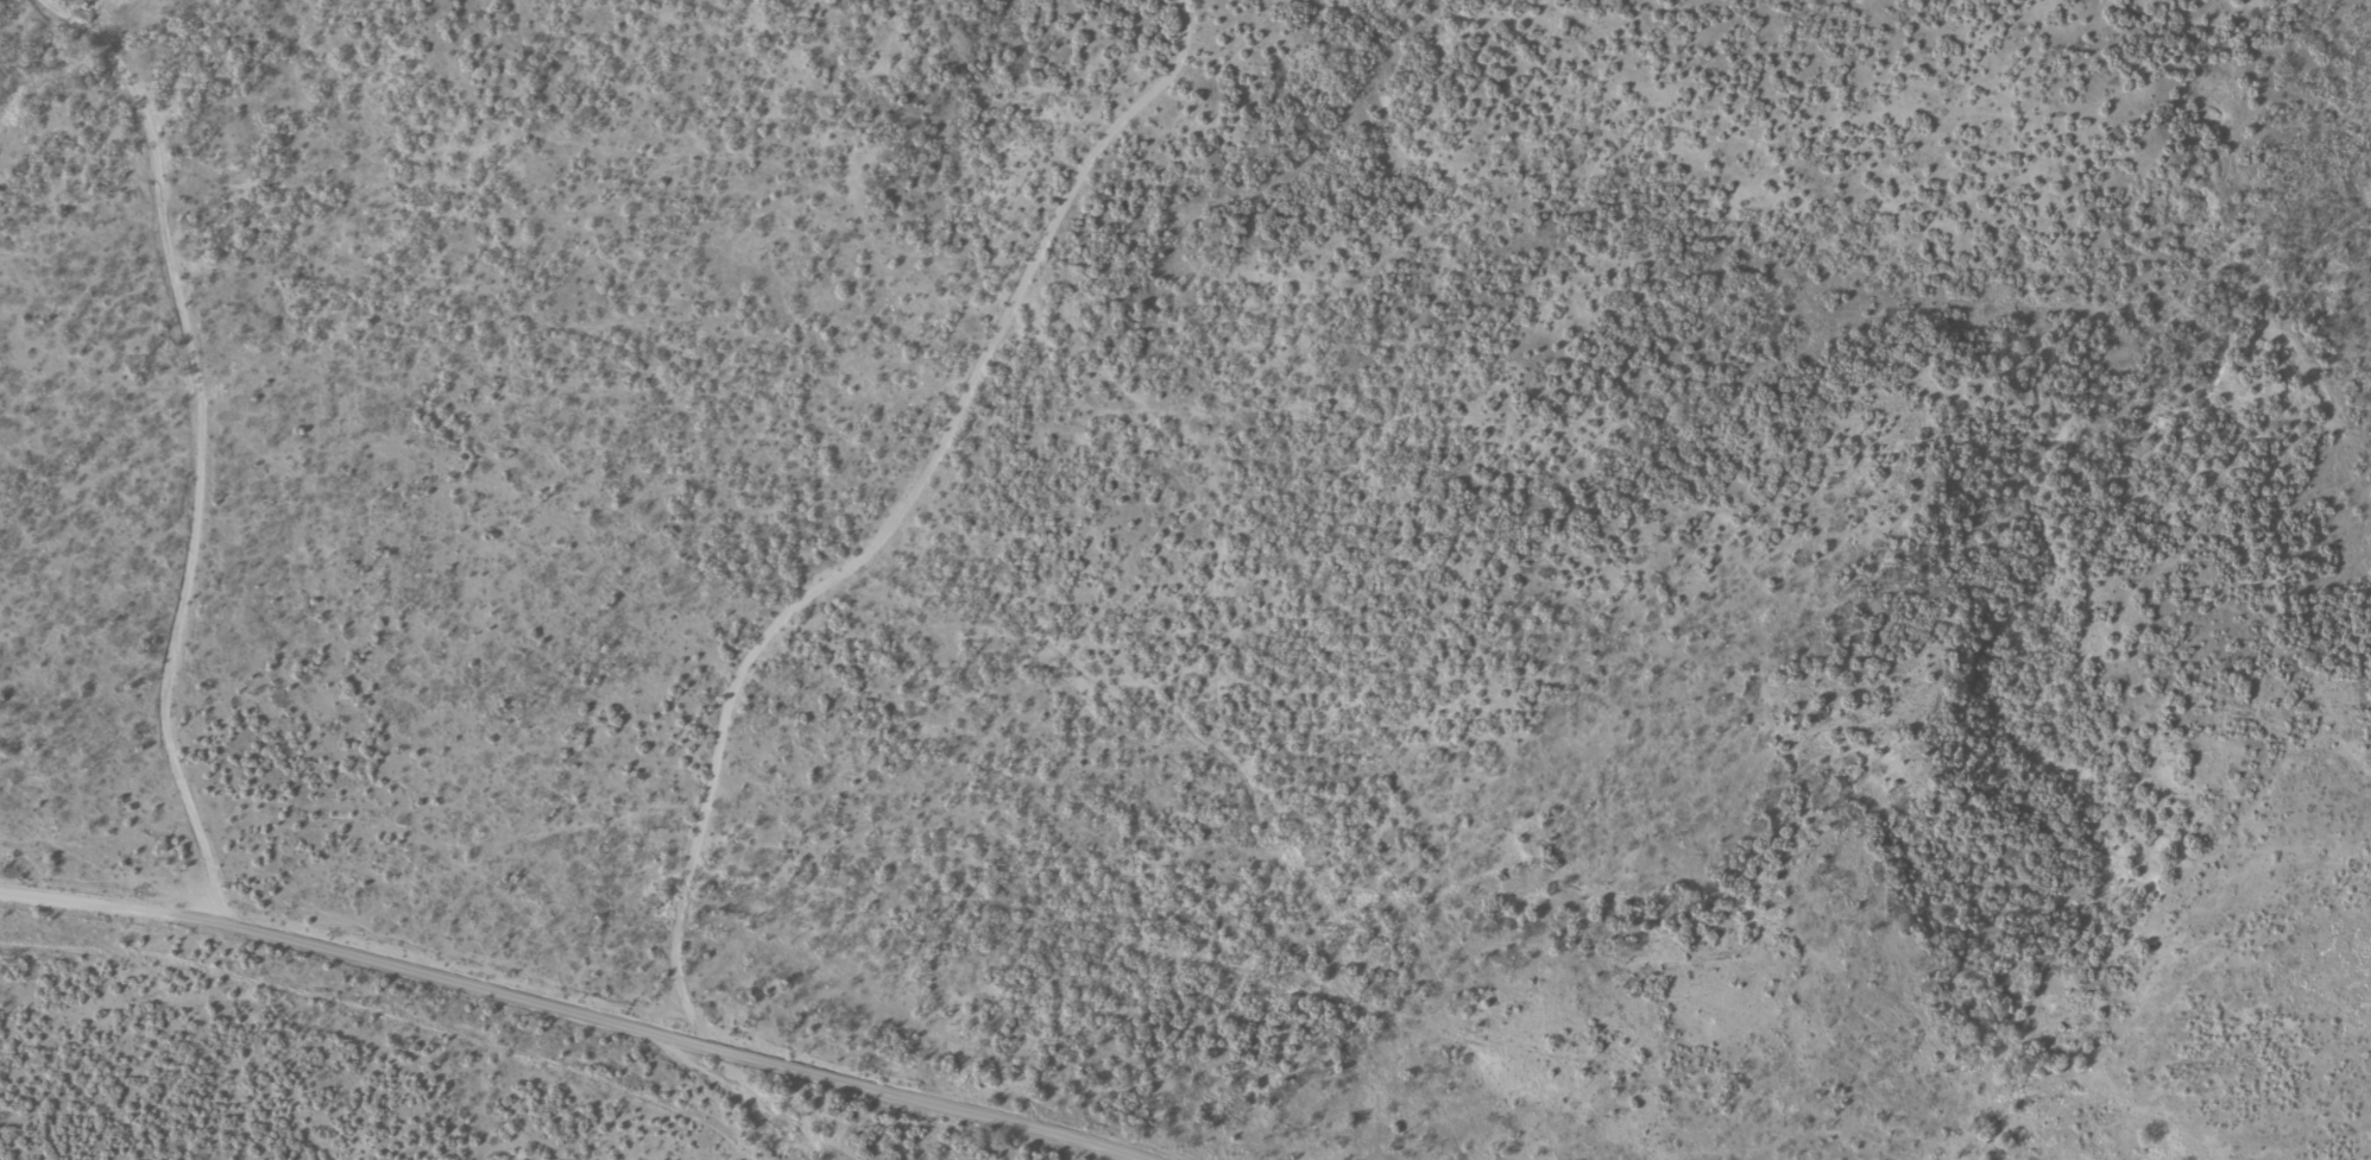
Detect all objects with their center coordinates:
road: (165, 445)
road: (843, 480)
road: (580, 1010)

